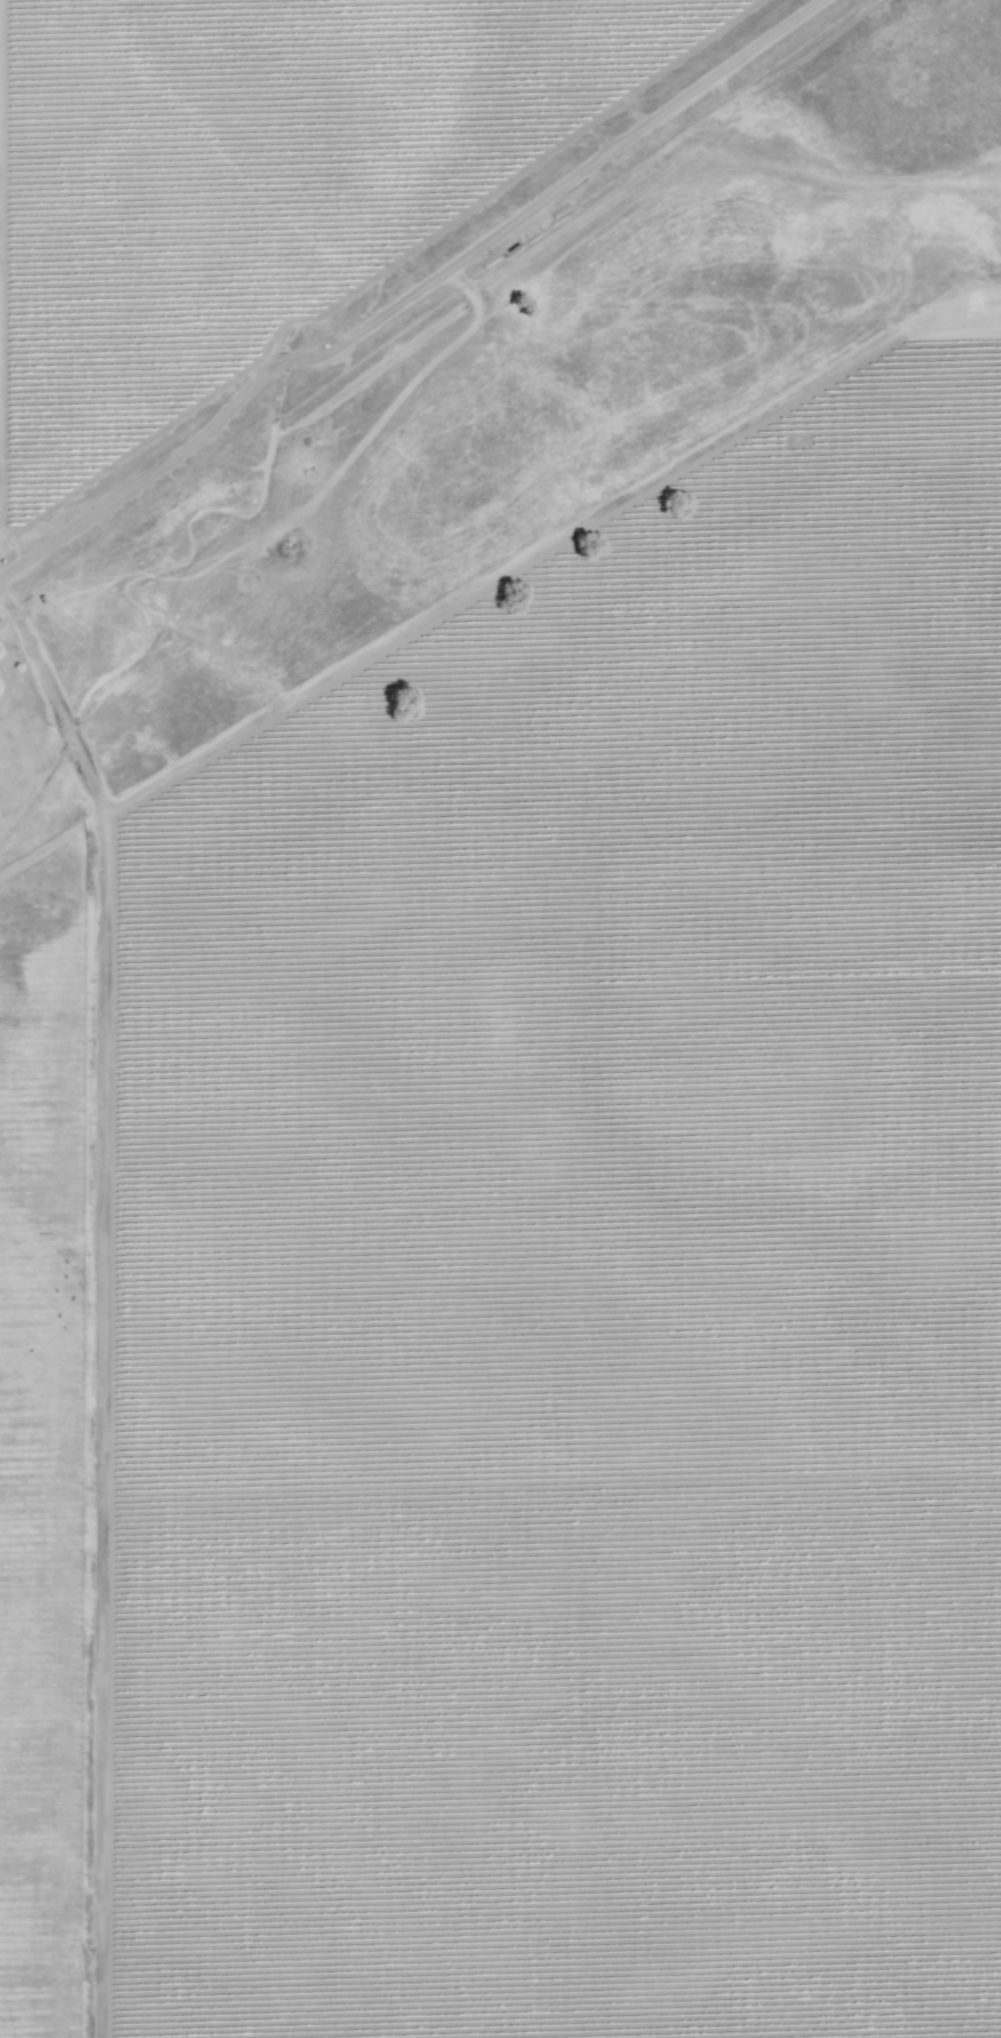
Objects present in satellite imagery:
road: (411, 296)

